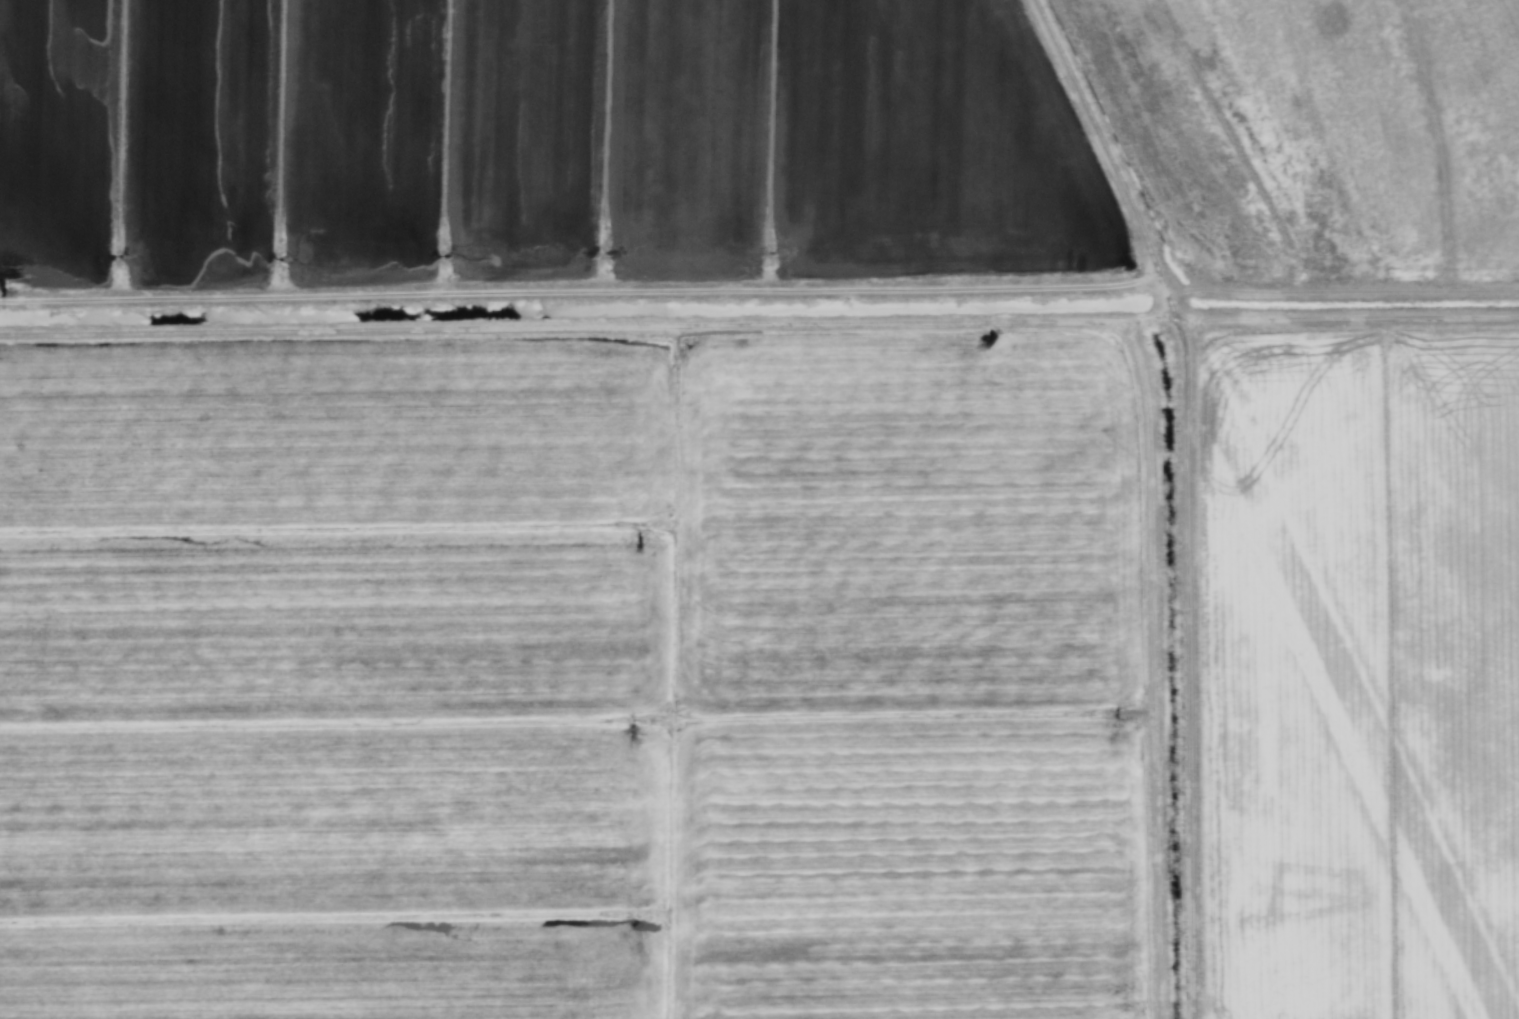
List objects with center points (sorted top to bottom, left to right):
crop: (759, 509)

